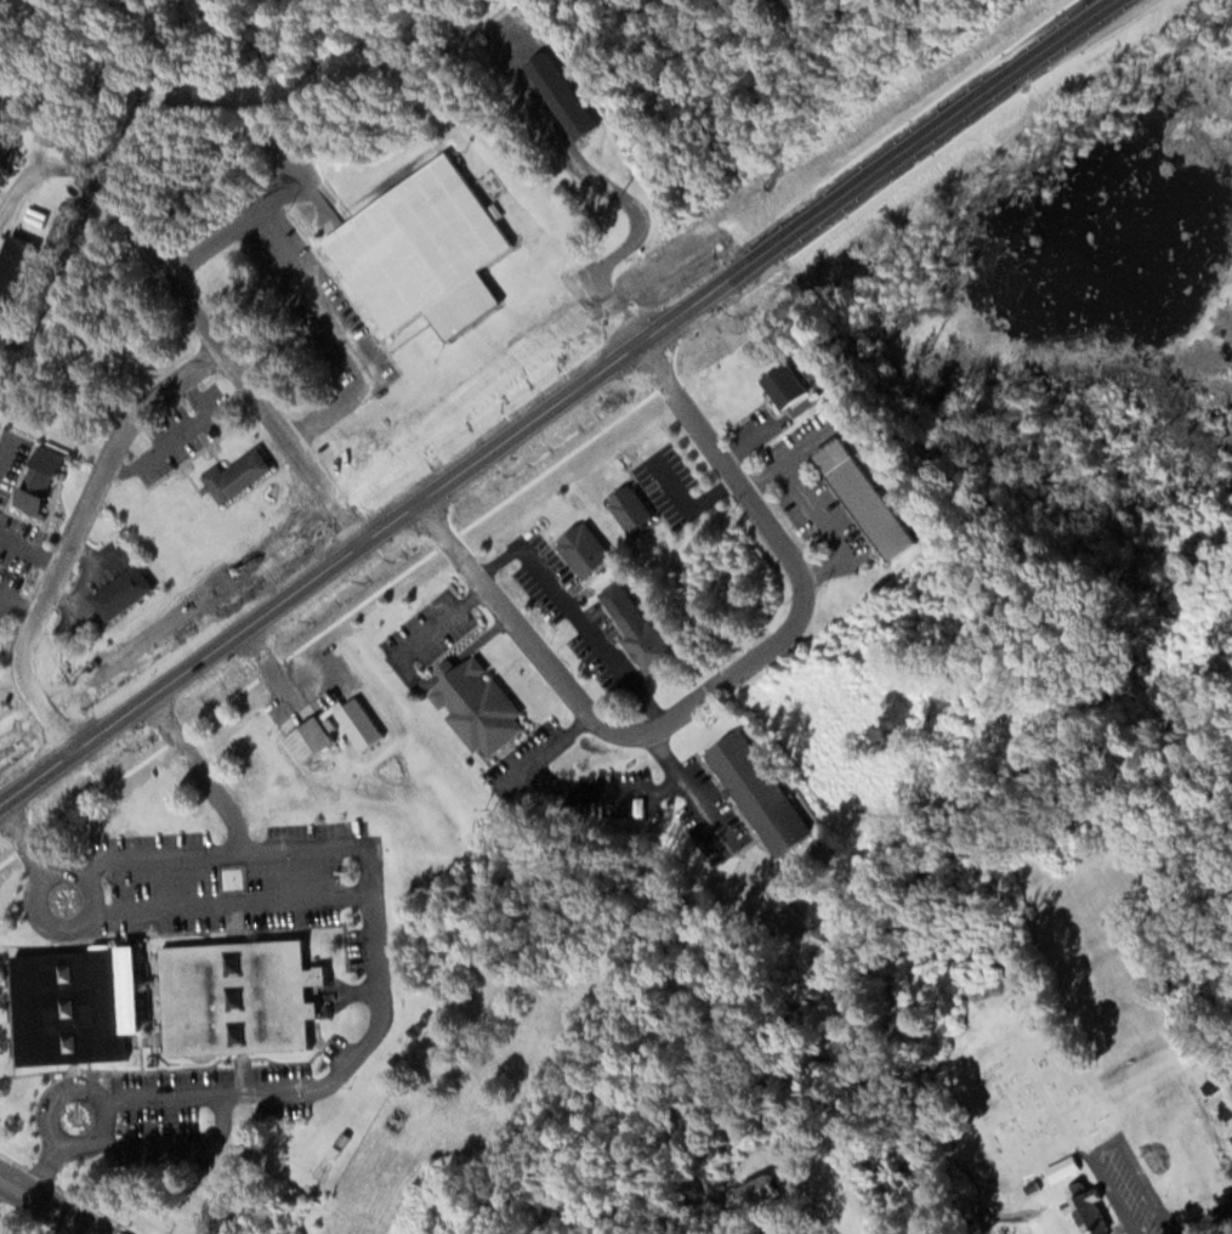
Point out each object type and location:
building: (558, 94)
road: (632, 242)
building: (428, 251)
building: (13, 272)
road: (612, 307)
road: (614, 327)
road: (243, 381)
building: (790, 386)
road: (556, 403)
road: (482, 421)
building: (243, 476)
building: (47, 481)
building: (873, 498)
building: (635, 509)
road: (345, 519)
road: (75, 534)
building: (590, 551)
building: (127, 593)
road: (198, 622)
building: (647, 634)
road: (721, 677)
building: (482, 707)
road: (53, 721)
building: (318, 738)
road: (21, 745)
road: (199, 768)
building: (768, 794)
road: (22, 836)
parking lot: (248, 878)
road: (232, 901)
road: (33, 902)
road: (375, 936)
road: (351, 990)
building: (237, 997)
building: (74, 1004)
parking lot: (336, 1052)
parking lot: (284, 1089)
road: (1198, 1102)
parking lot: (165, 1103)
road: (46, 1120)
road: (178, 1144)
road: (45, 1165)
building: (1066, 1168)
building: (766, 1191)
road: (51, 1202)
building: (1090, 1208)
road: (1209, 1222)

